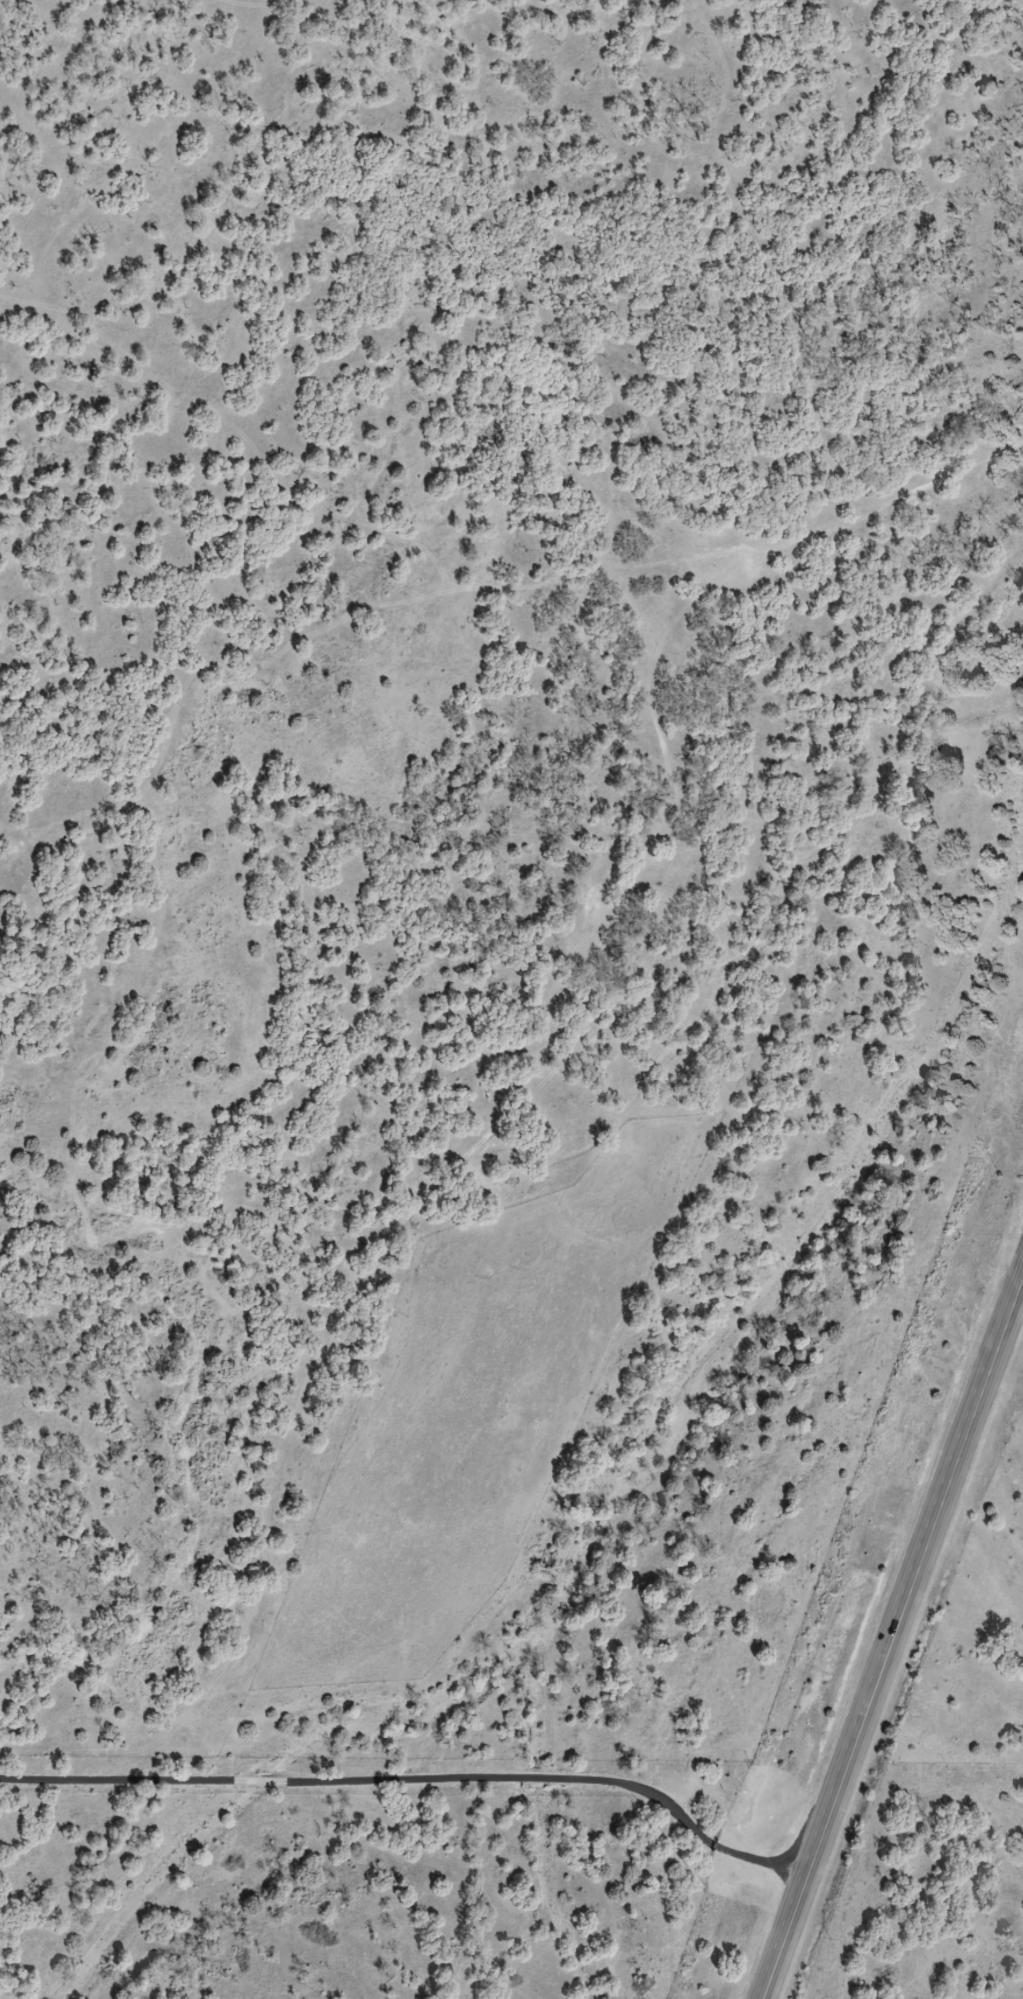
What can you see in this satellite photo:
road: (891, 1636)

